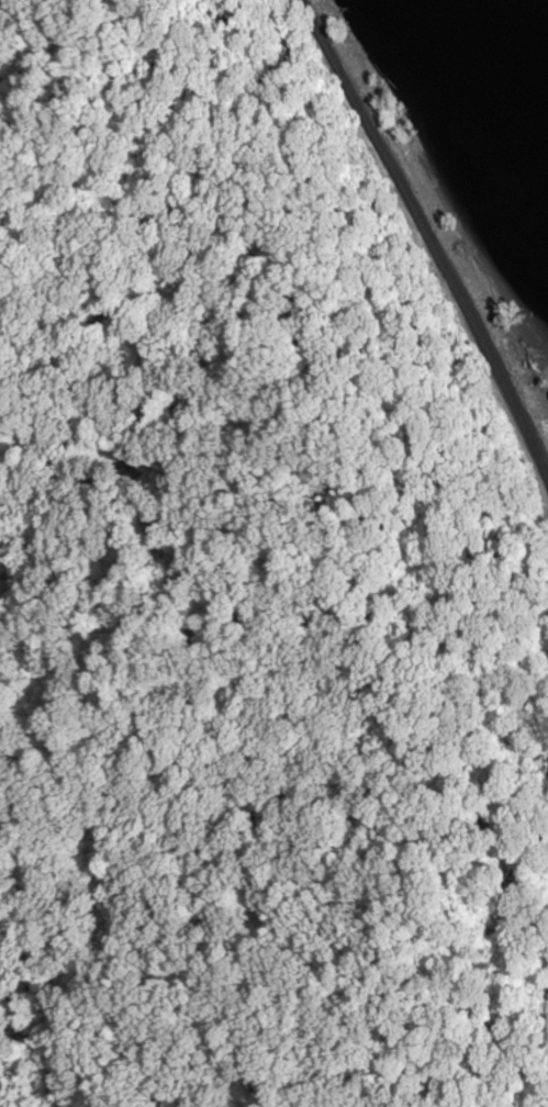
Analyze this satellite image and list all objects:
railway: (437, 239)

